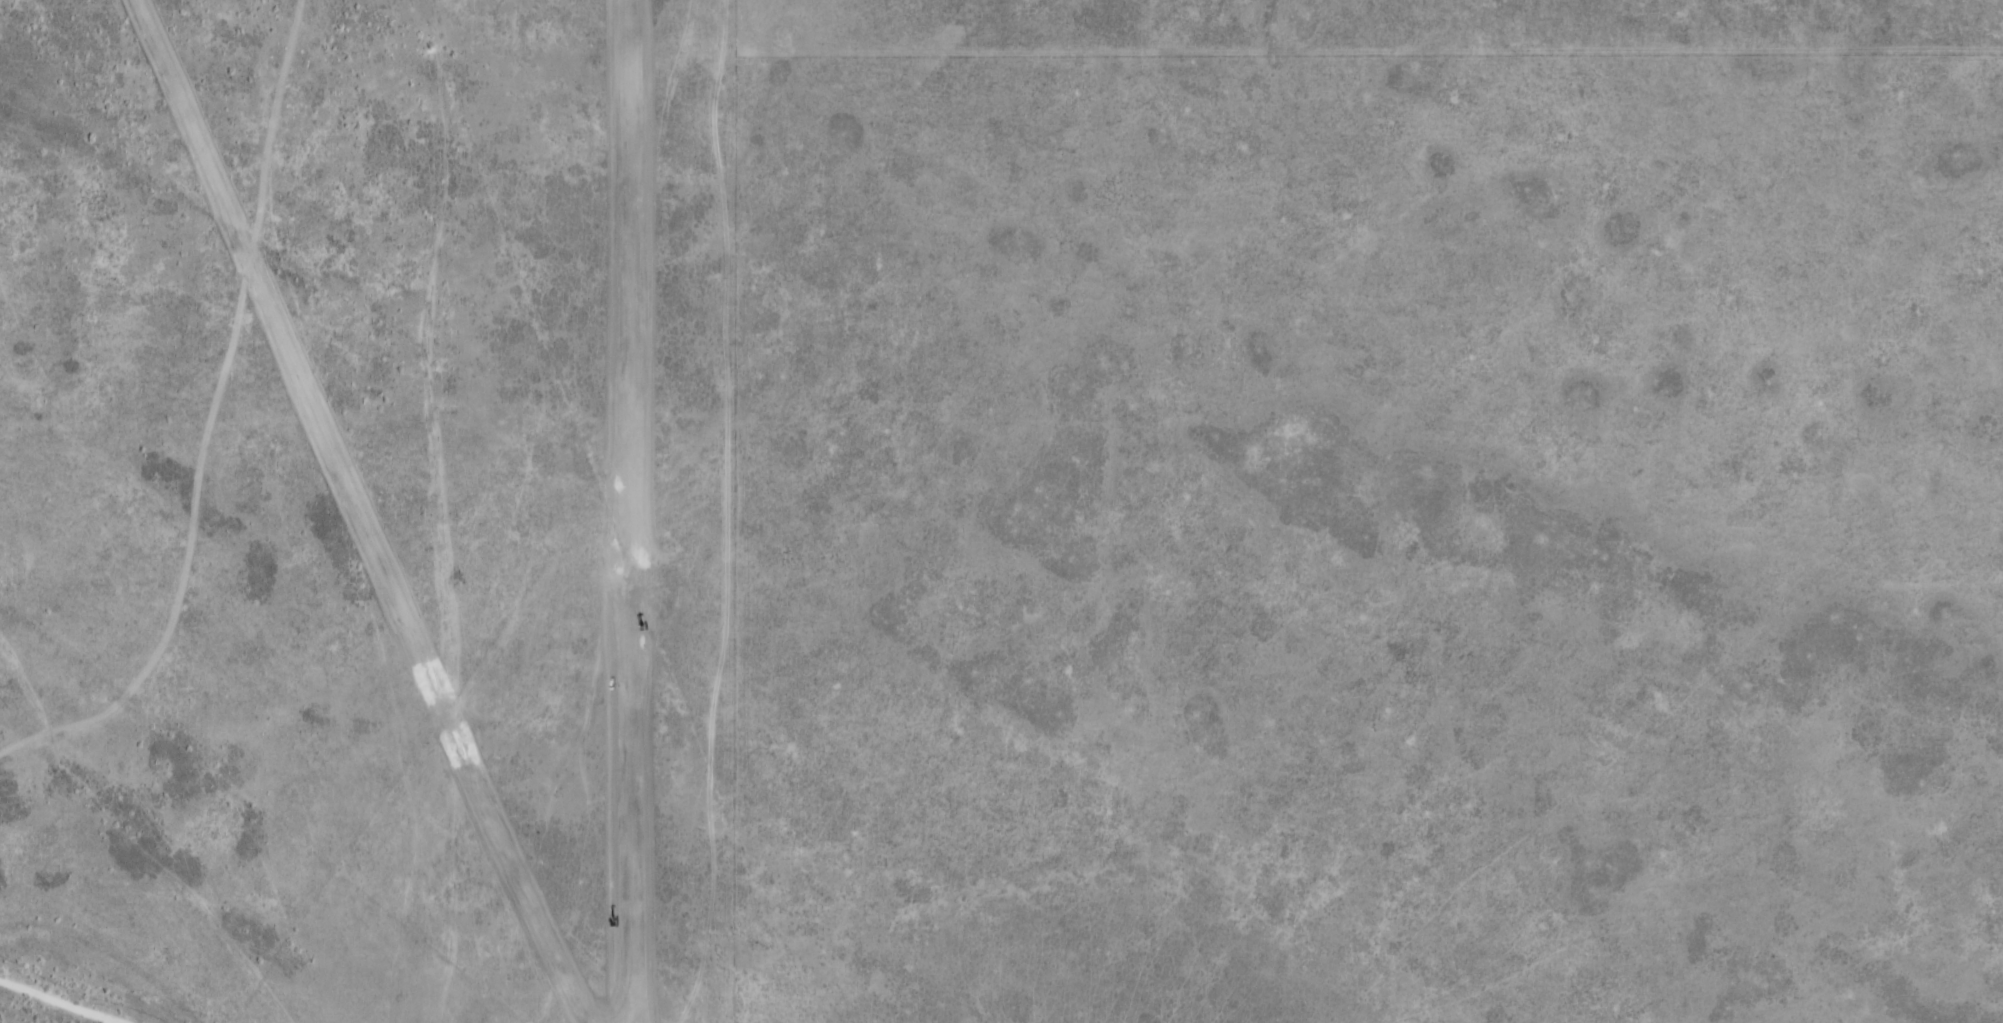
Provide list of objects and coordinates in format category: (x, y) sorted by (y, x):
road: (147, 967)

